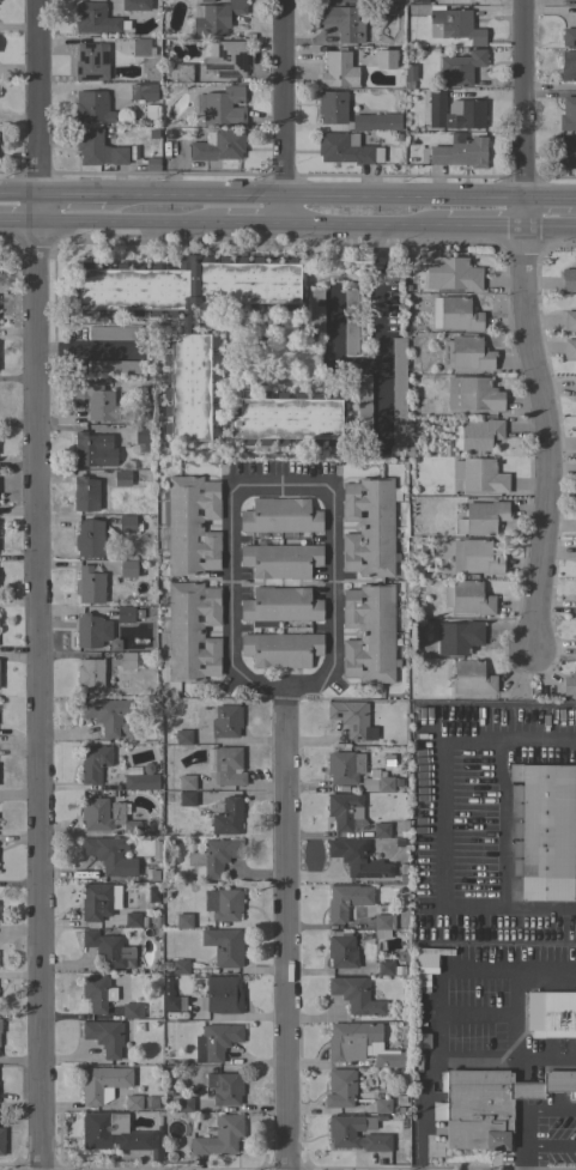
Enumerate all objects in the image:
building: (339, 0)
building: (575, 0)
building: (416, 1)
building: (135, 5)
building: (214, 17)
building: (93, 18)
building: (342, 22)
building: (453, 25)
building: (569, 37)
building: (139, 47)
building: (384, 59)
building: (226, 60)
building: (90, 61)
building: (568, 66)
building: (459, 68)
building: (338, 71)
building: (180, 72)
building: (410, 74)
building: (141, 92)
road: (40, 96)
road: (284, 96)
road: (523, 97)
building: (91, 107)
building: (222, 107)
building: (332, 107)
building: (454, 113)
building: (568, 114)
building: (375, 121)
building: (217, 145)
building: (98, 148)
building: (345, 148)
building: (461, 153)
building: (566, 153)
road: (20, 192)
road: (72, 192)
road: (194, 192)
road: (405, 193)
road: (547, 195)
road: (572, 195)
road: (41, 206)
road: (285, 207)
road: (522, 211)
road: (20, 220)
road: (132, 220)
road: (254, 222)
road: (362, 223)
road: (479, 225)
road: (547, 226)
building: (456, 274)
building: (568, 278)
building: (316, 305)
building: (454, 314)
building: (569, 320)
building: (350, 321)
building: (113, 333)
road: (378, 341)
building: (569, 348)
road: (89, 350)
building: (467, 353)
building: (113, 366)
building: (188, 370)
building: (398, 389)
building: (575, 389)
building: (472, 395)
building: (363, 398)
building: (95, 400)
building: (143, 435)
building: (477, 436)
road: (550, 436)
building: (93, 450)
building: (408, 450)
building: (483, 477)
building: (121, 478)
building: (85, 493)
road: (228, 501)
building: (280, 516)
building: (481, 519)
building: (128, 523)
building: (190, 526)
building: (368, 527)
building: (89, 538)
building: (475, 557)
building: (280, 559)
building: (127, 568)
building: (89, 584)
building: (468, 598)
building: (279, 605)
building: (575, 606)
building: (125, 614)
building: (91, 631)
building: (192, 631)
building: (369, 634)
building: (456, 638)
building: (575, 647)
building: (280, 649)
building: (126, 657)
building: (90, 673)
building: (472, 678)
building: (569, 685)
road: (42, 695)
building: (109, 716)
building: (350, 716)
building: (225, 721)
building: (182, 736)
building: (93, 763)
building: (228, 766)
building: (341, 768)
building: (140, 782)
building: (184, 782)
building: (376, 784)
building: (186, 799)
building: (344, 810)
building: (93, 816)
building: (226, 817)
road: (438, 820)
road: (501, 823)
building: (384, 830)
building: (544, 831)
building: (156, 850)
building: (109, 855)
building: (212, 857)
building: (357, 859)
building: (346, 901)
building: (96, 902)
building: (226, 905)
building: (132, 920)
building: (183, 921)
building: (383, 921)
road: (285, 927)
building: (224, 946)
building: (107, 948)
building: (341, 950)
building: (428, 959)
building: (180, 966)
road: (484, 966)
building: (389, 969)
building: (97, 993)
building: (223, 994)
building: (356, 995)
building: (169, 998)
building: (132, 1011)
building: (550, 1011)
road: (436, 1032)
building: (104, 1036)
building: (352, 1041)
building: (214, 1042)
building: (389, 1060)
building: (103, 1084)
building: (224, 1087)
building: (340, 1089)
building: (133, 1103)
building: (183, 1104)
building: (489, 1104)
building: (381, 1105)
road: (530, 1108)
building: (114, 1133)
building: (374, 1135)
building: (219, 1136)
building: (1, 1140)
road: (548, 1145)
road: (521, 1157)

